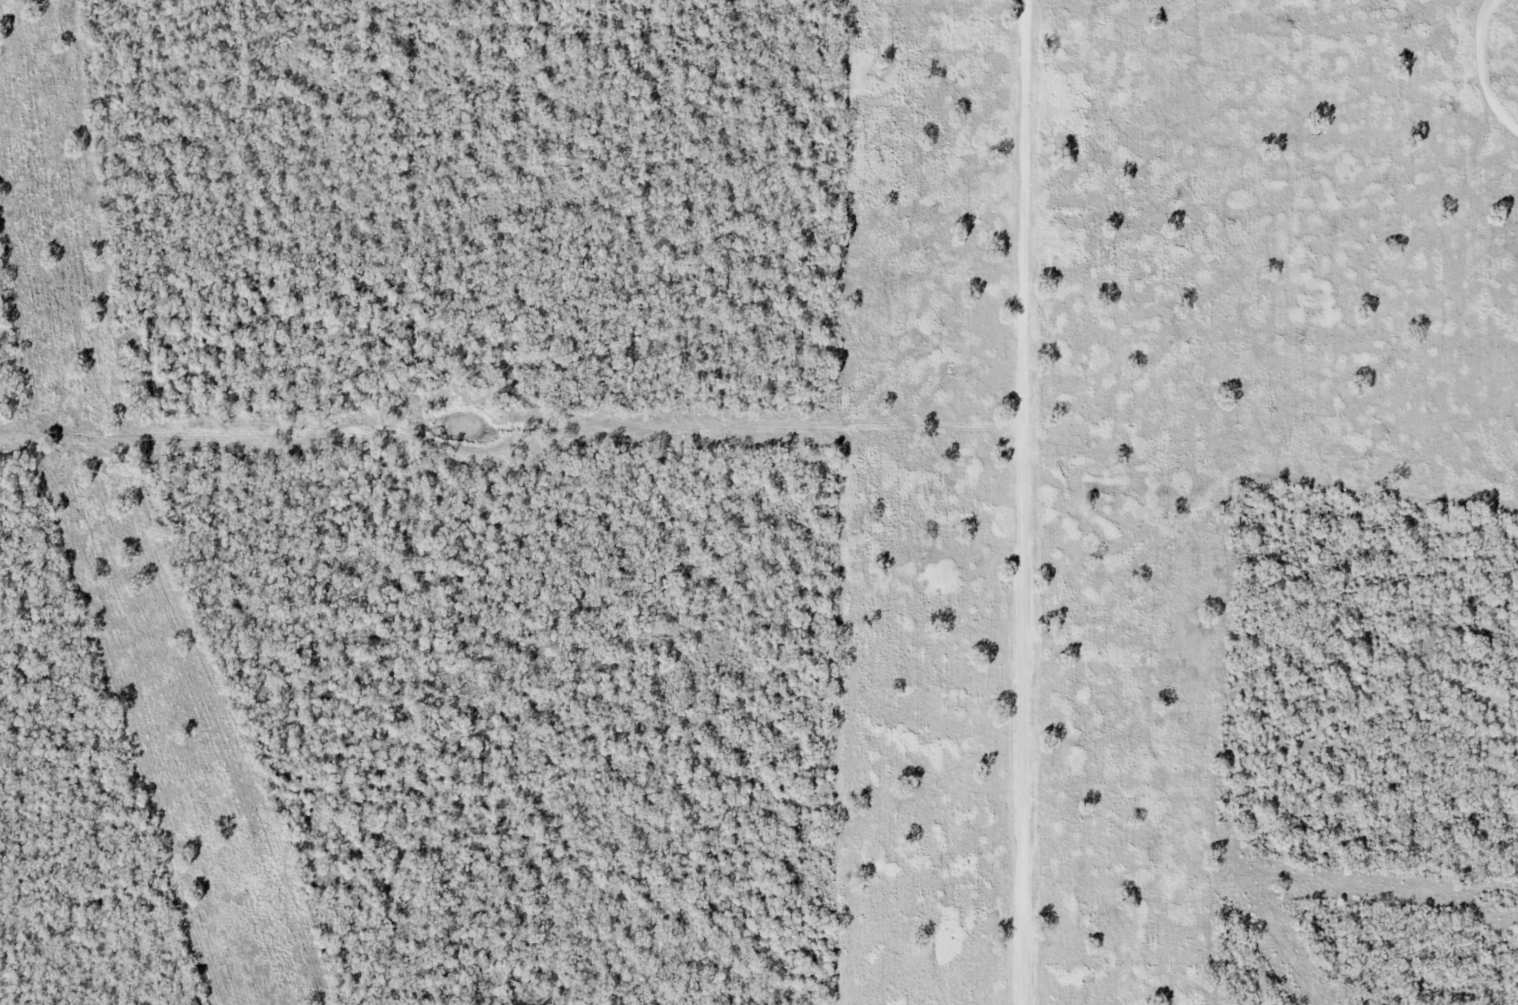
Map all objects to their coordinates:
road: (1019, 502)

